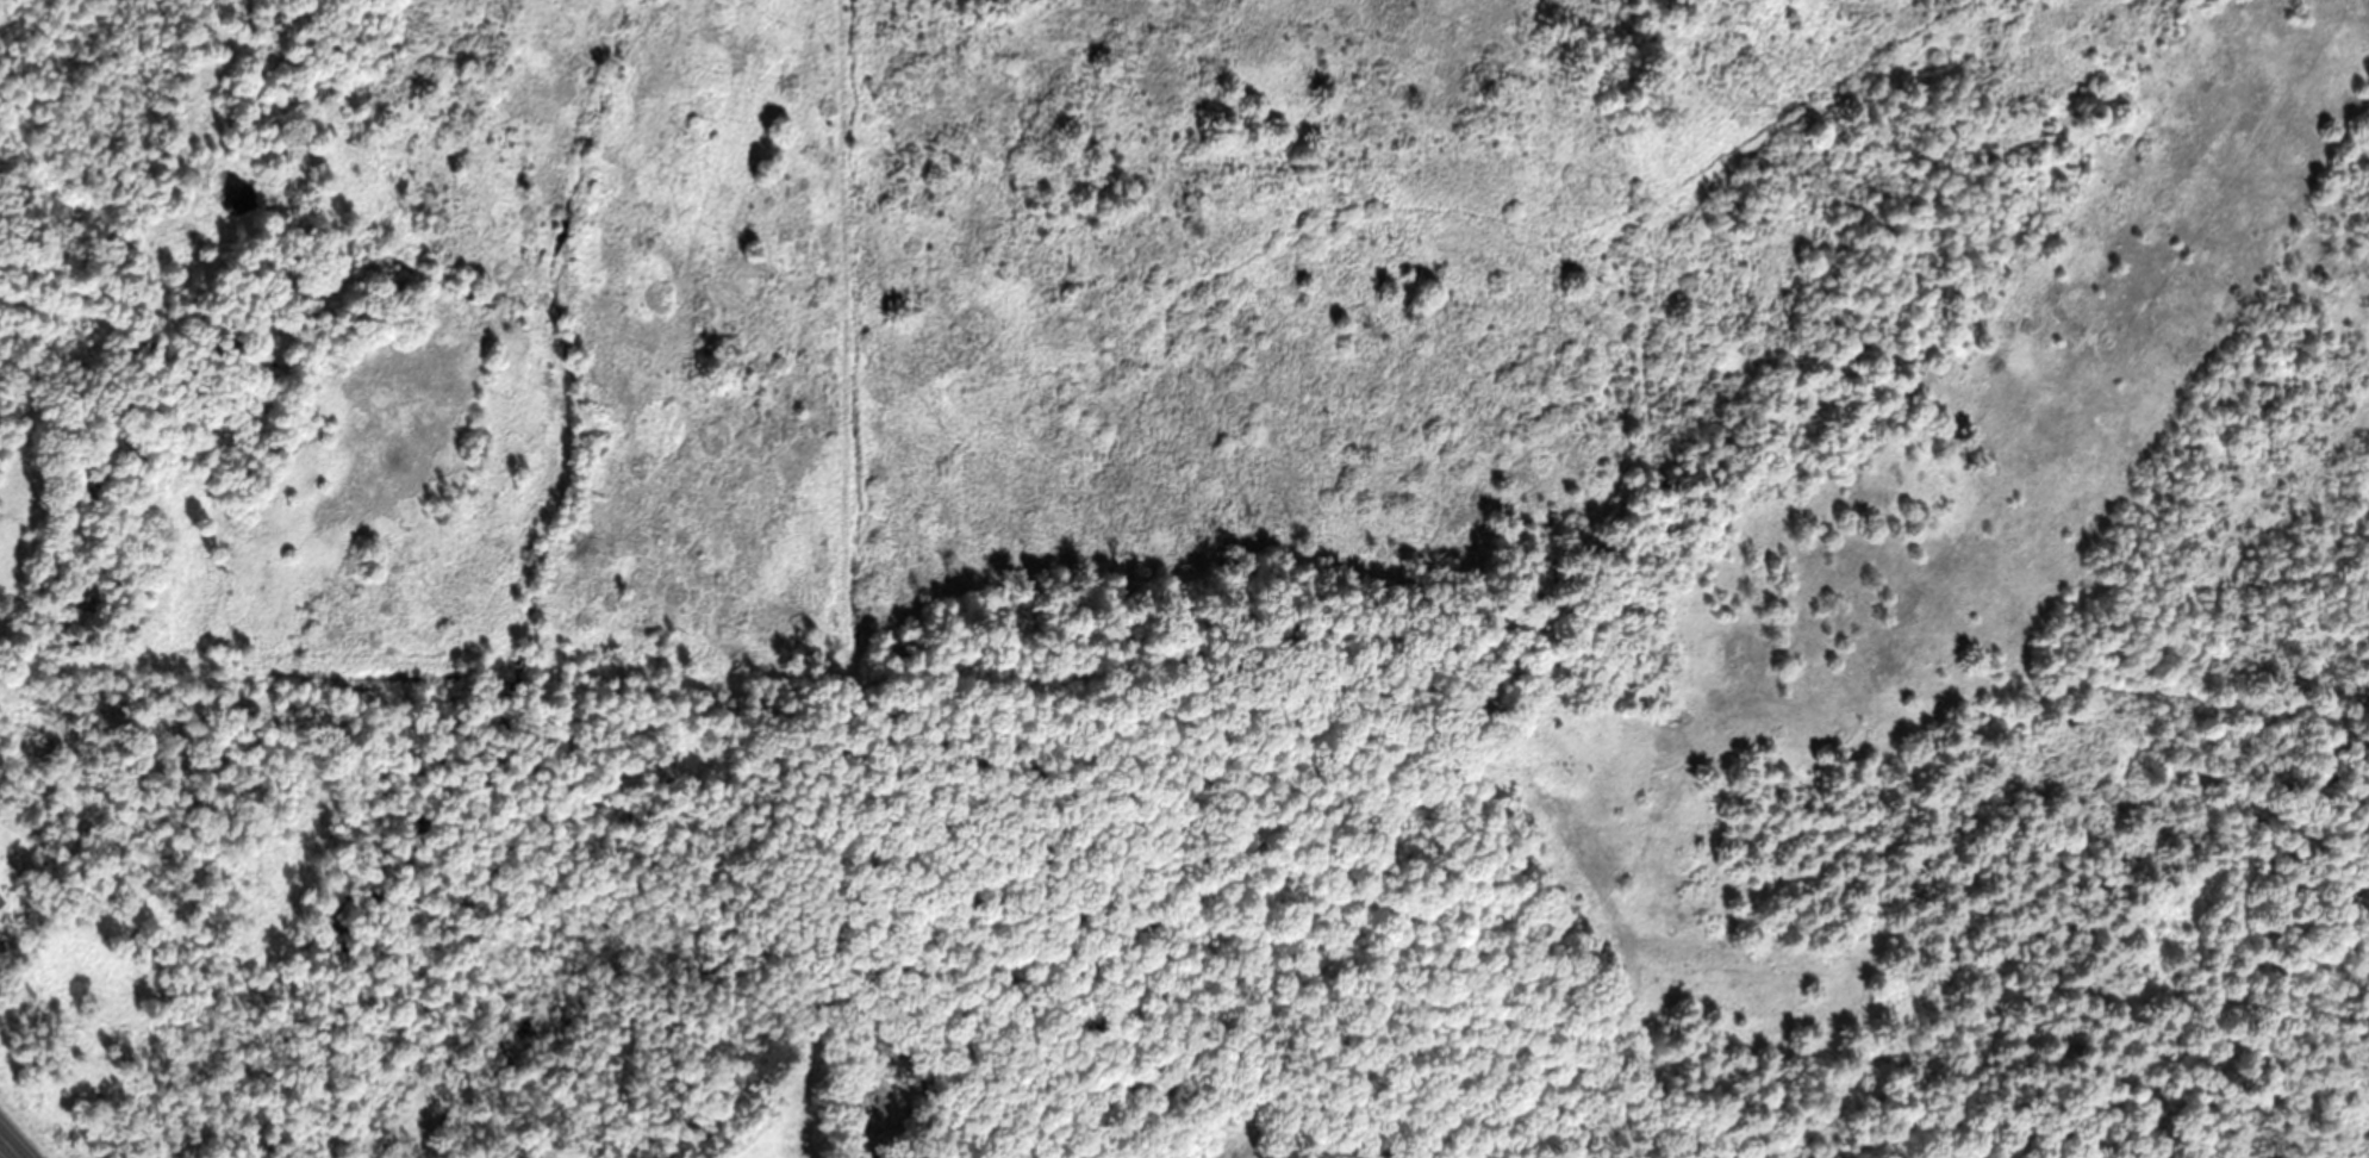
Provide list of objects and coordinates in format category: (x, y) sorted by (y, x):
building: (1, 898)
road: (13, 1143)

